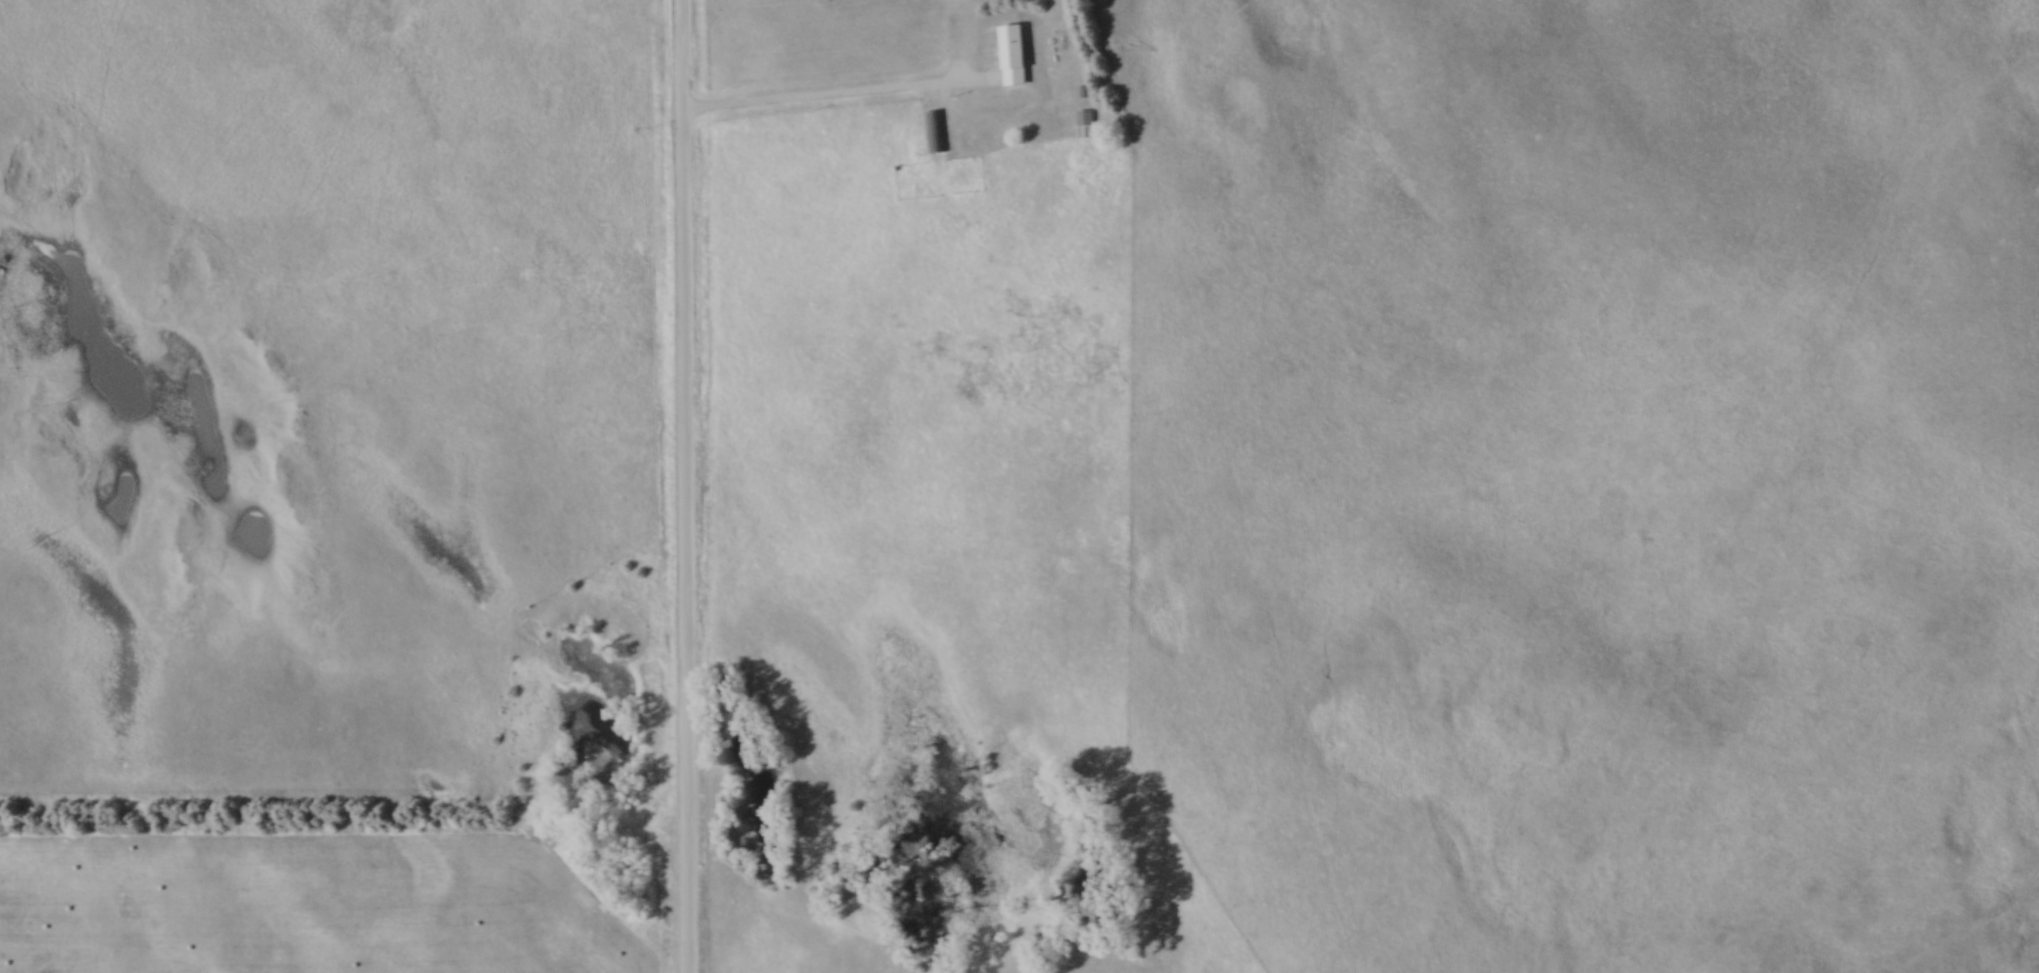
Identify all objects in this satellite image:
building: (1006, 56)
road: (839, 99)
building: (1082, 116)
building: (935, 130)
road: (684, 486)

